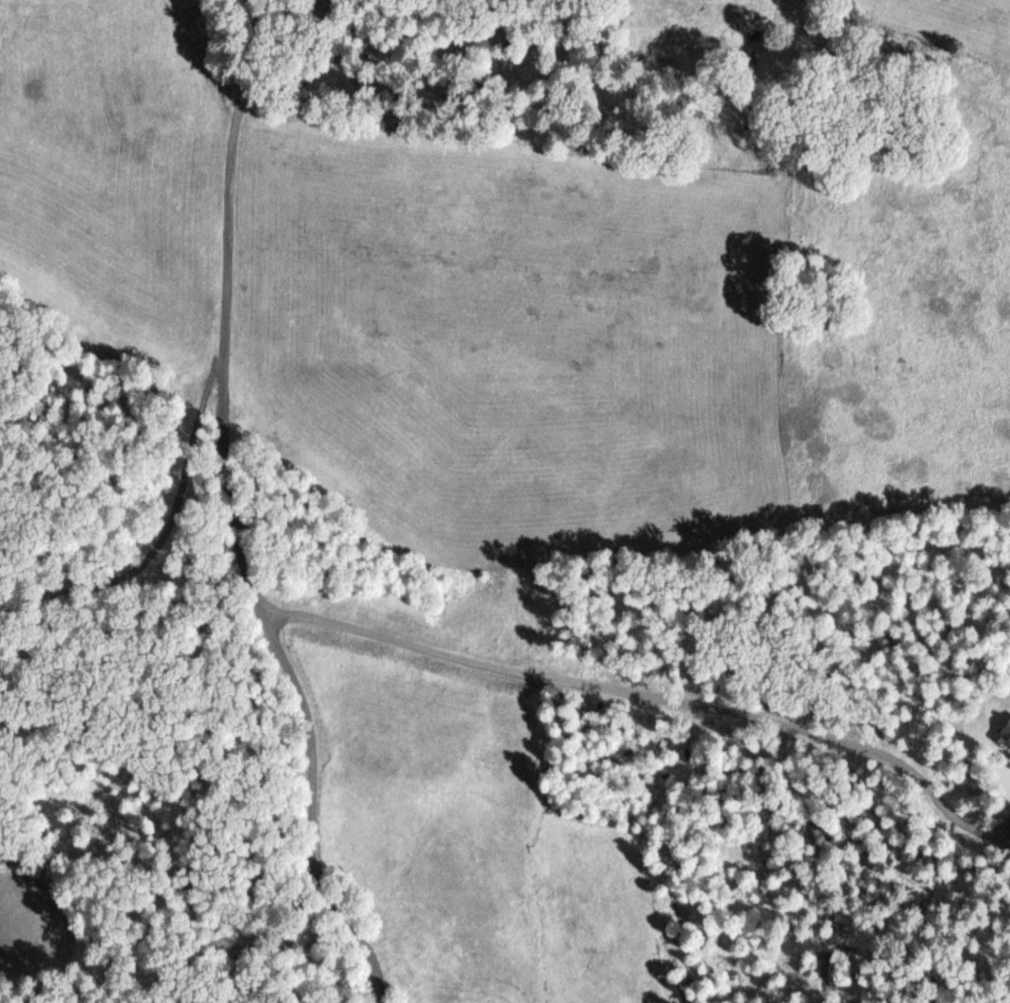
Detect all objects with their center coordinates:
road: (227, 518)
road: (651, 699)

